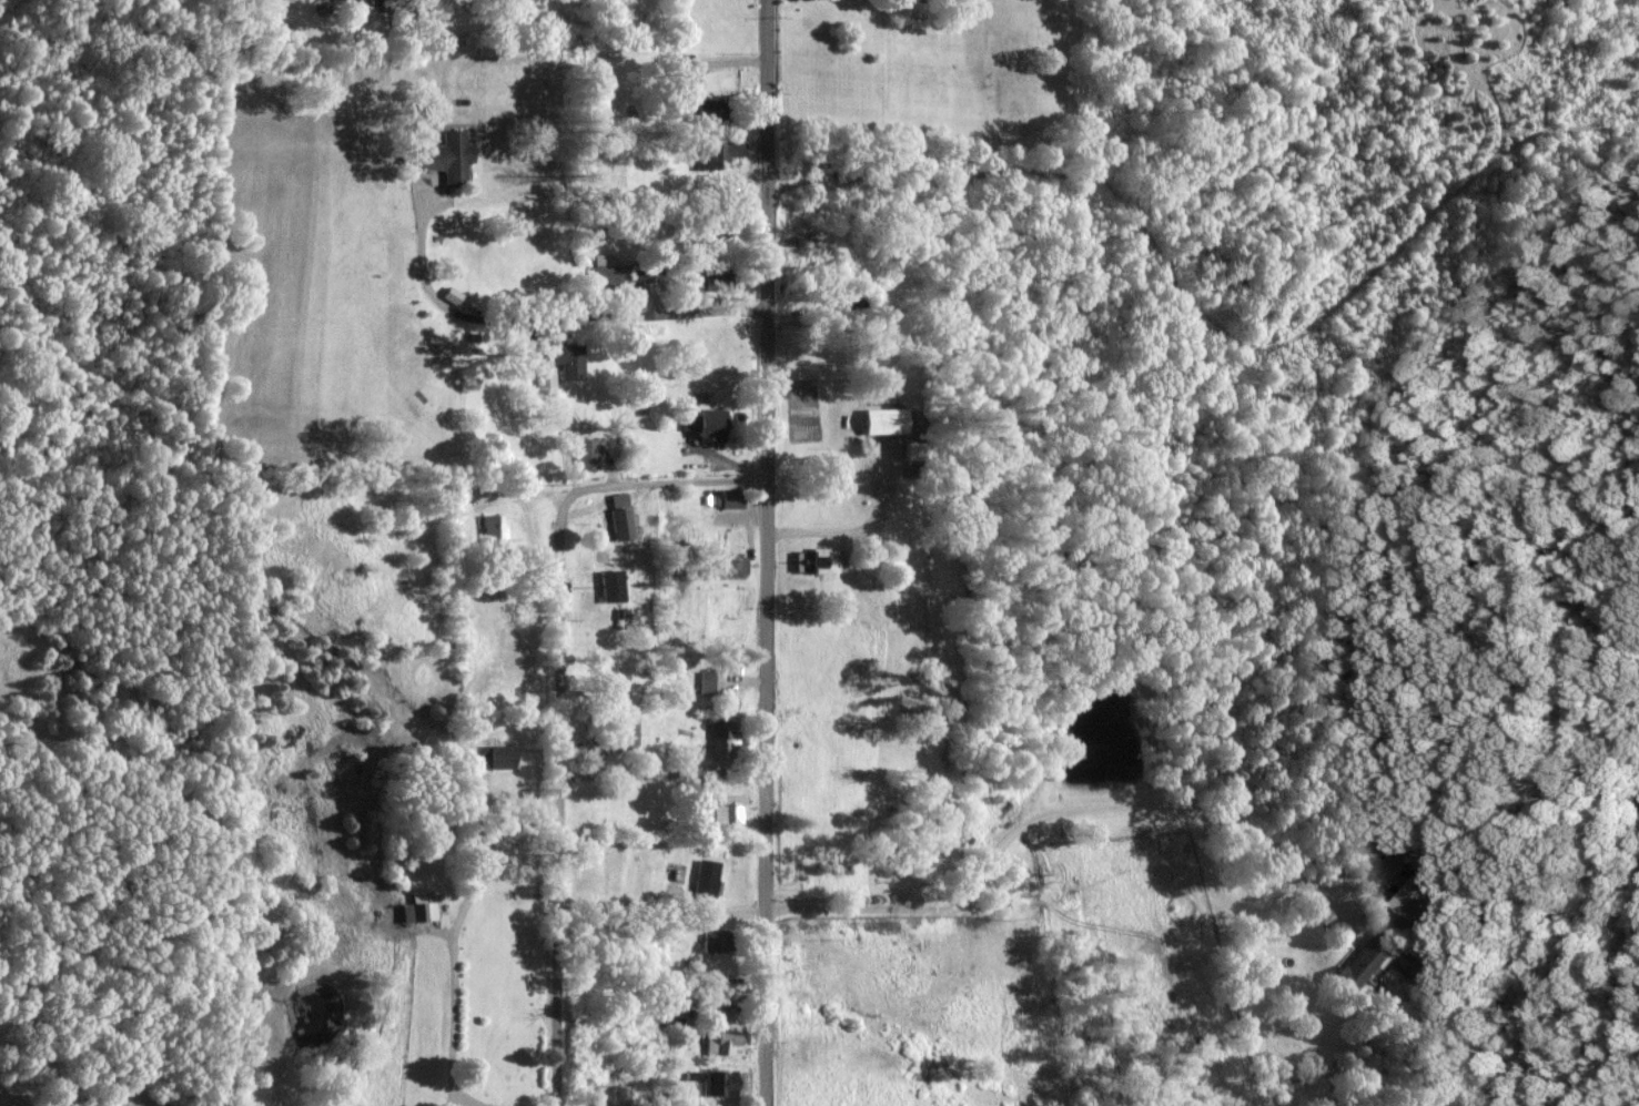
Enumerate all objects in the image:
building: (702, 111)
building: (716, 155)
building: (451, 158)
building: (607, 271)
road: (549, 316)
building: (558, 363)
building: (887, 417)
building: (700, 422)
building: (913, 449)
building: (590, 458)
road: (722, 463)
building: (732, 504)
building: (621, 514)
road: (859, 528)
building: (495, 534)
road: (766, 552)
building: (820, 561)
building: (731, 562)
building: (614, 585)
building: (712, 682)
road: (558, 699)
building: (625, 729)
building: (721, 738)
building: (502, 760)
road: (662, 772)
building: (727, 811)
building: (707, 874)
road: (978, 882)
building: (1420, 900)
building: (413, 915)
building: (715, 941)
building: (1364, 961)
road: (453, 1023)
building: (722, 1042)
building: (718, 1085)

